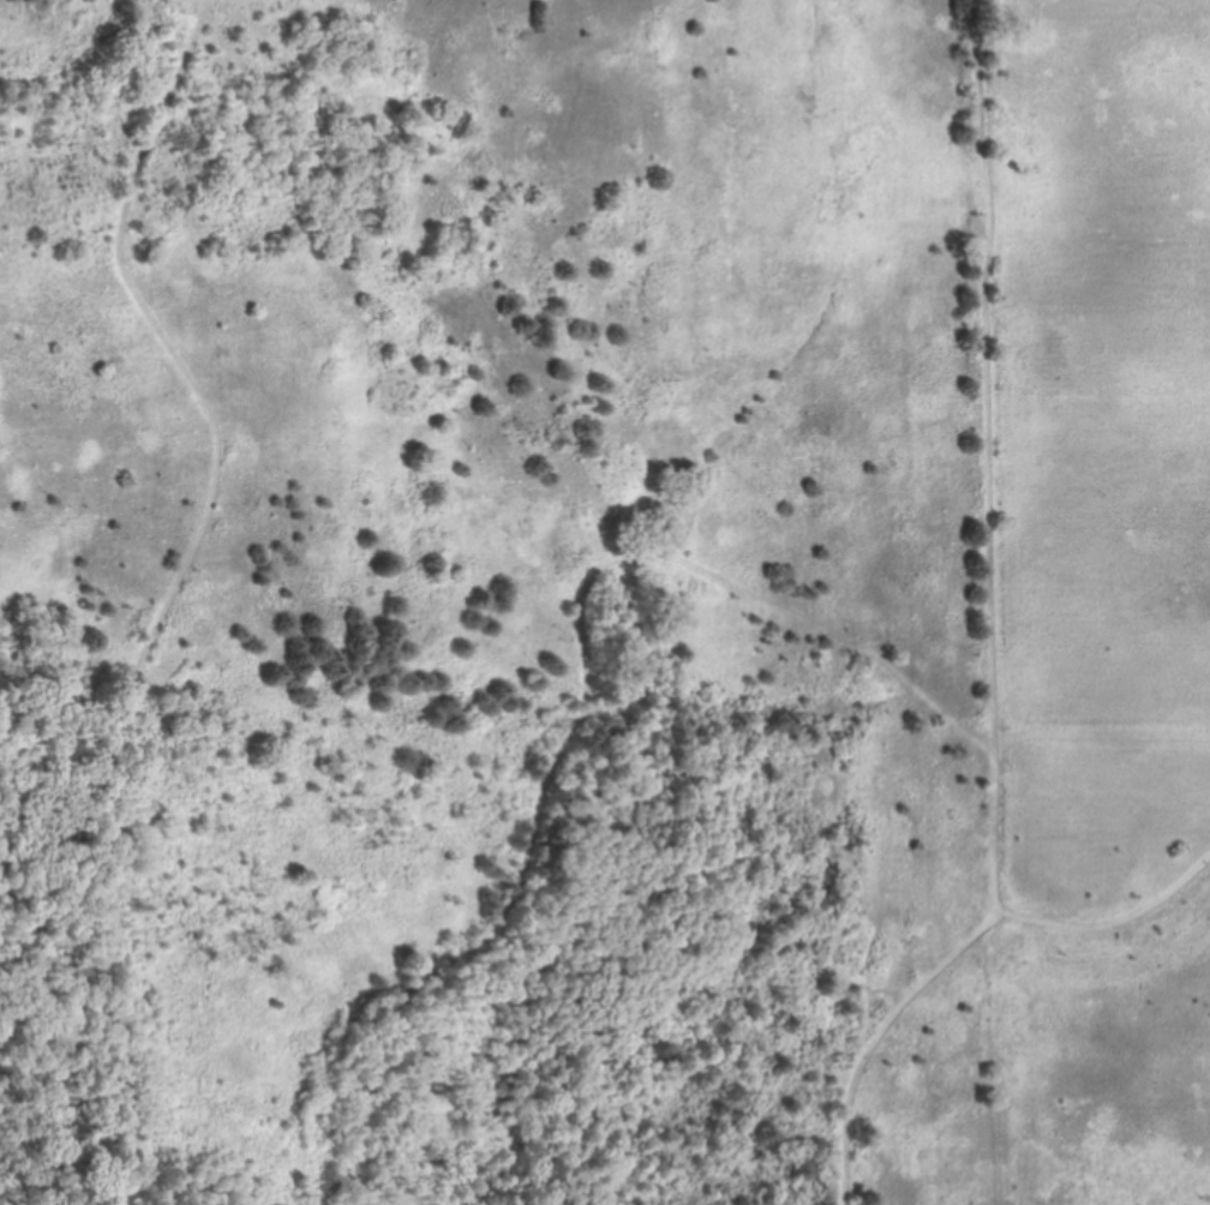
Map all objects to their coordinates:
road: (158, 329)
park: (605, 602)
road: (987, 631)
road: (586, 691)
road: (1114, 927)
road: (119, 933)
road: (58, 955)
road: (329, 1200)

